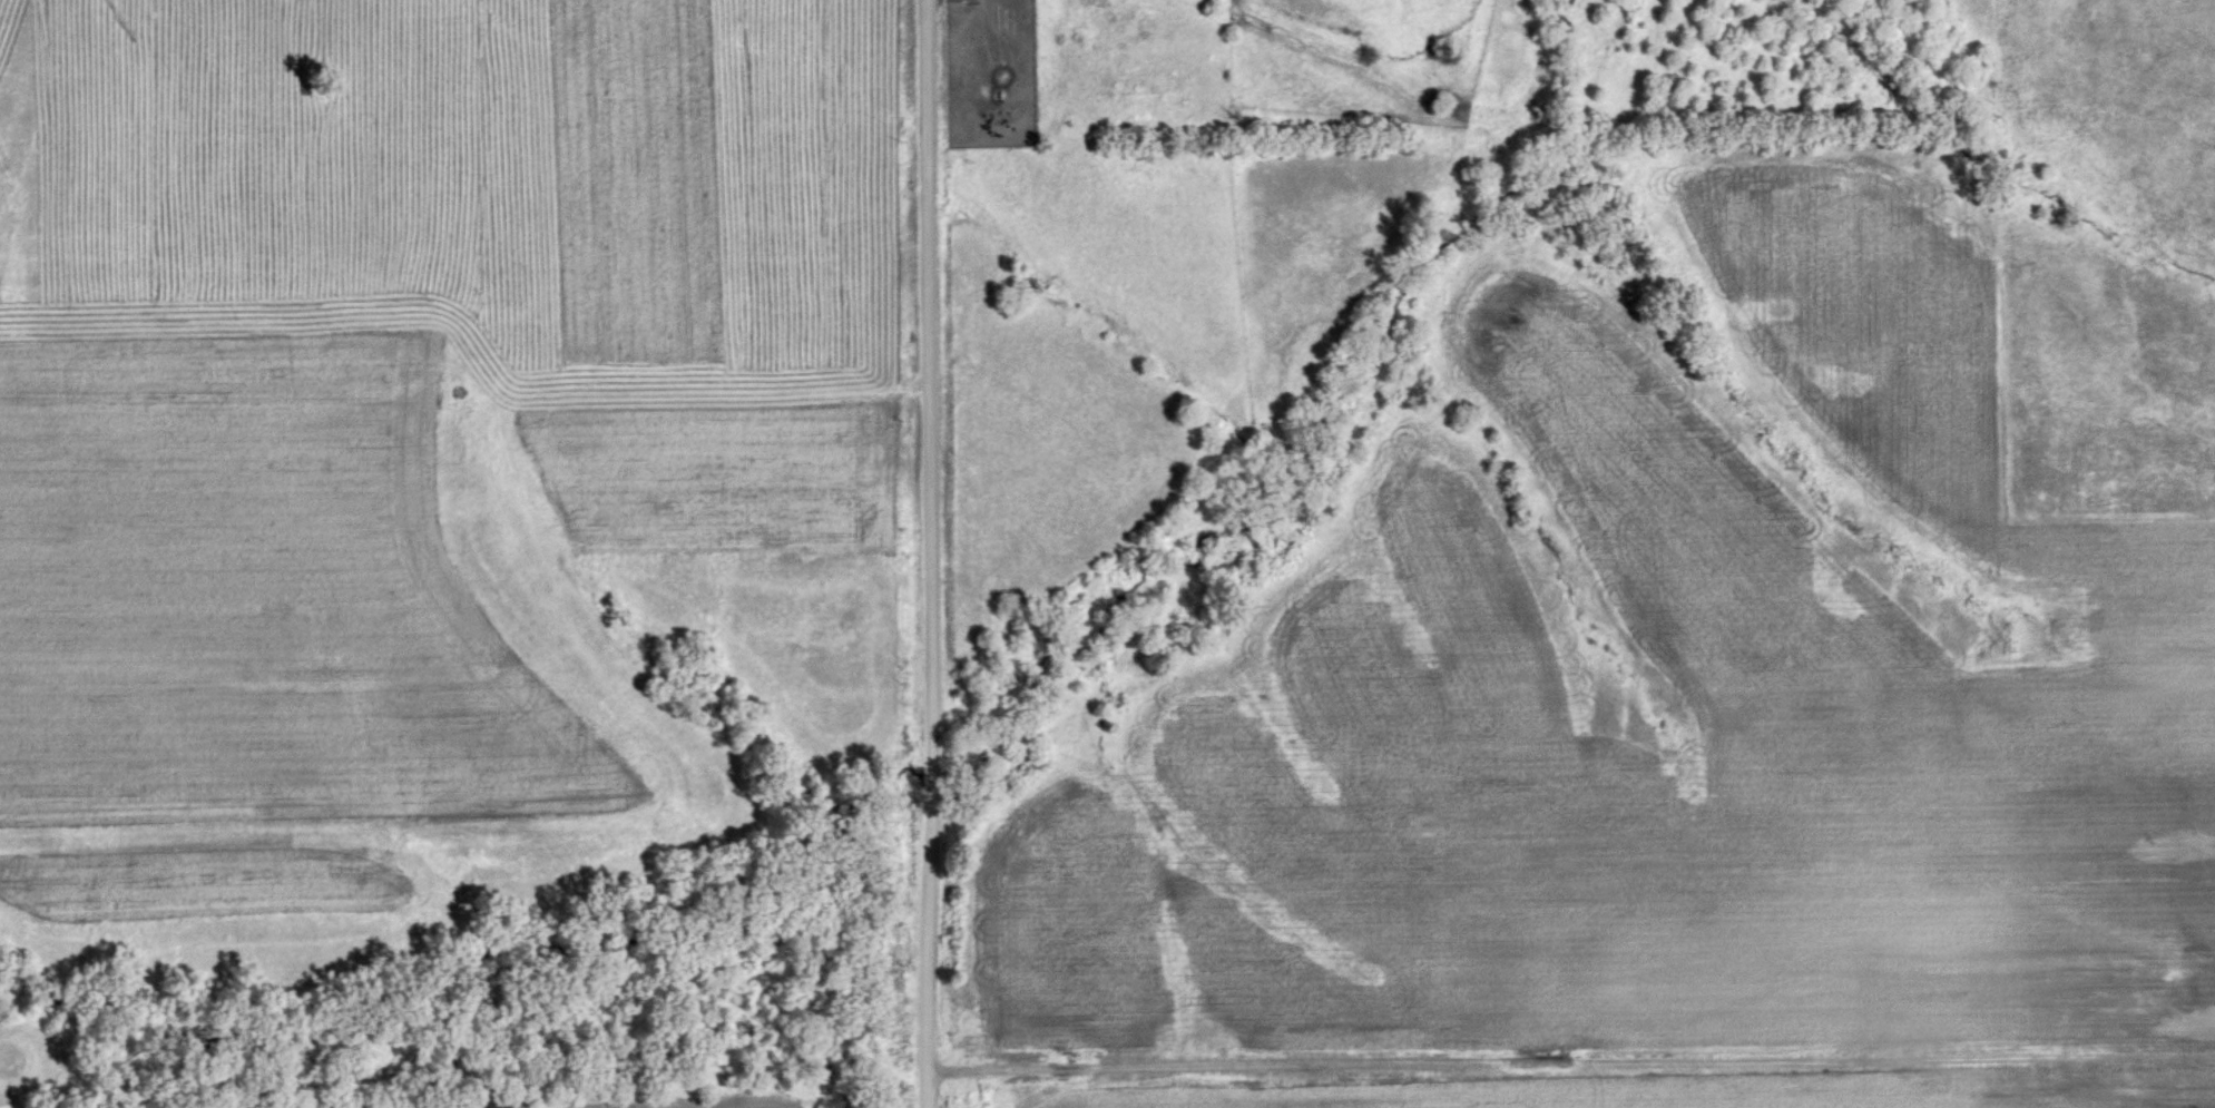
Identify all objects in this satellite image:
road: (928, 537)
road: (1569, 1059)
road: (924, 1091)

